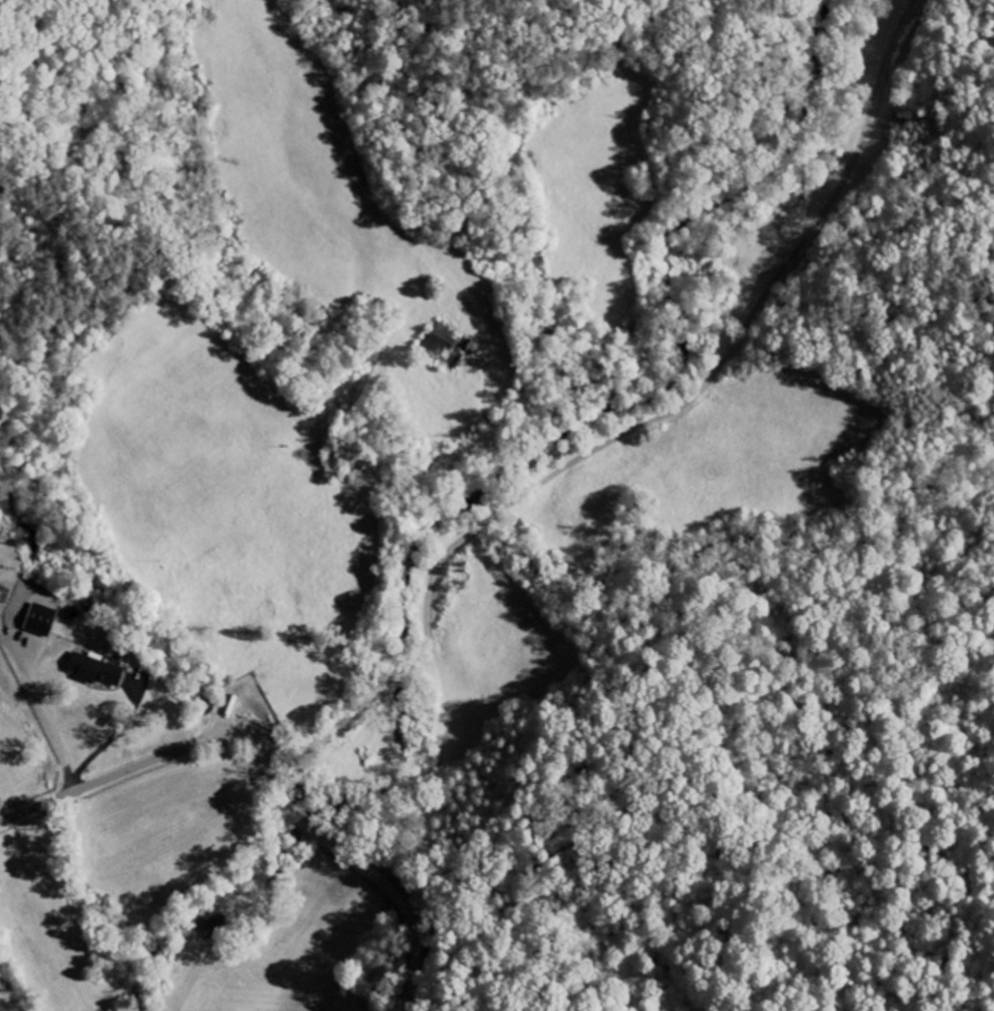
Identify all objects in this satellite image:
road: (626, 433)
building: (4, 595)
building: (72, 614)
building: (42, 621)
building: (97, 671)
road: (46, 710)
road: (120, 775)

